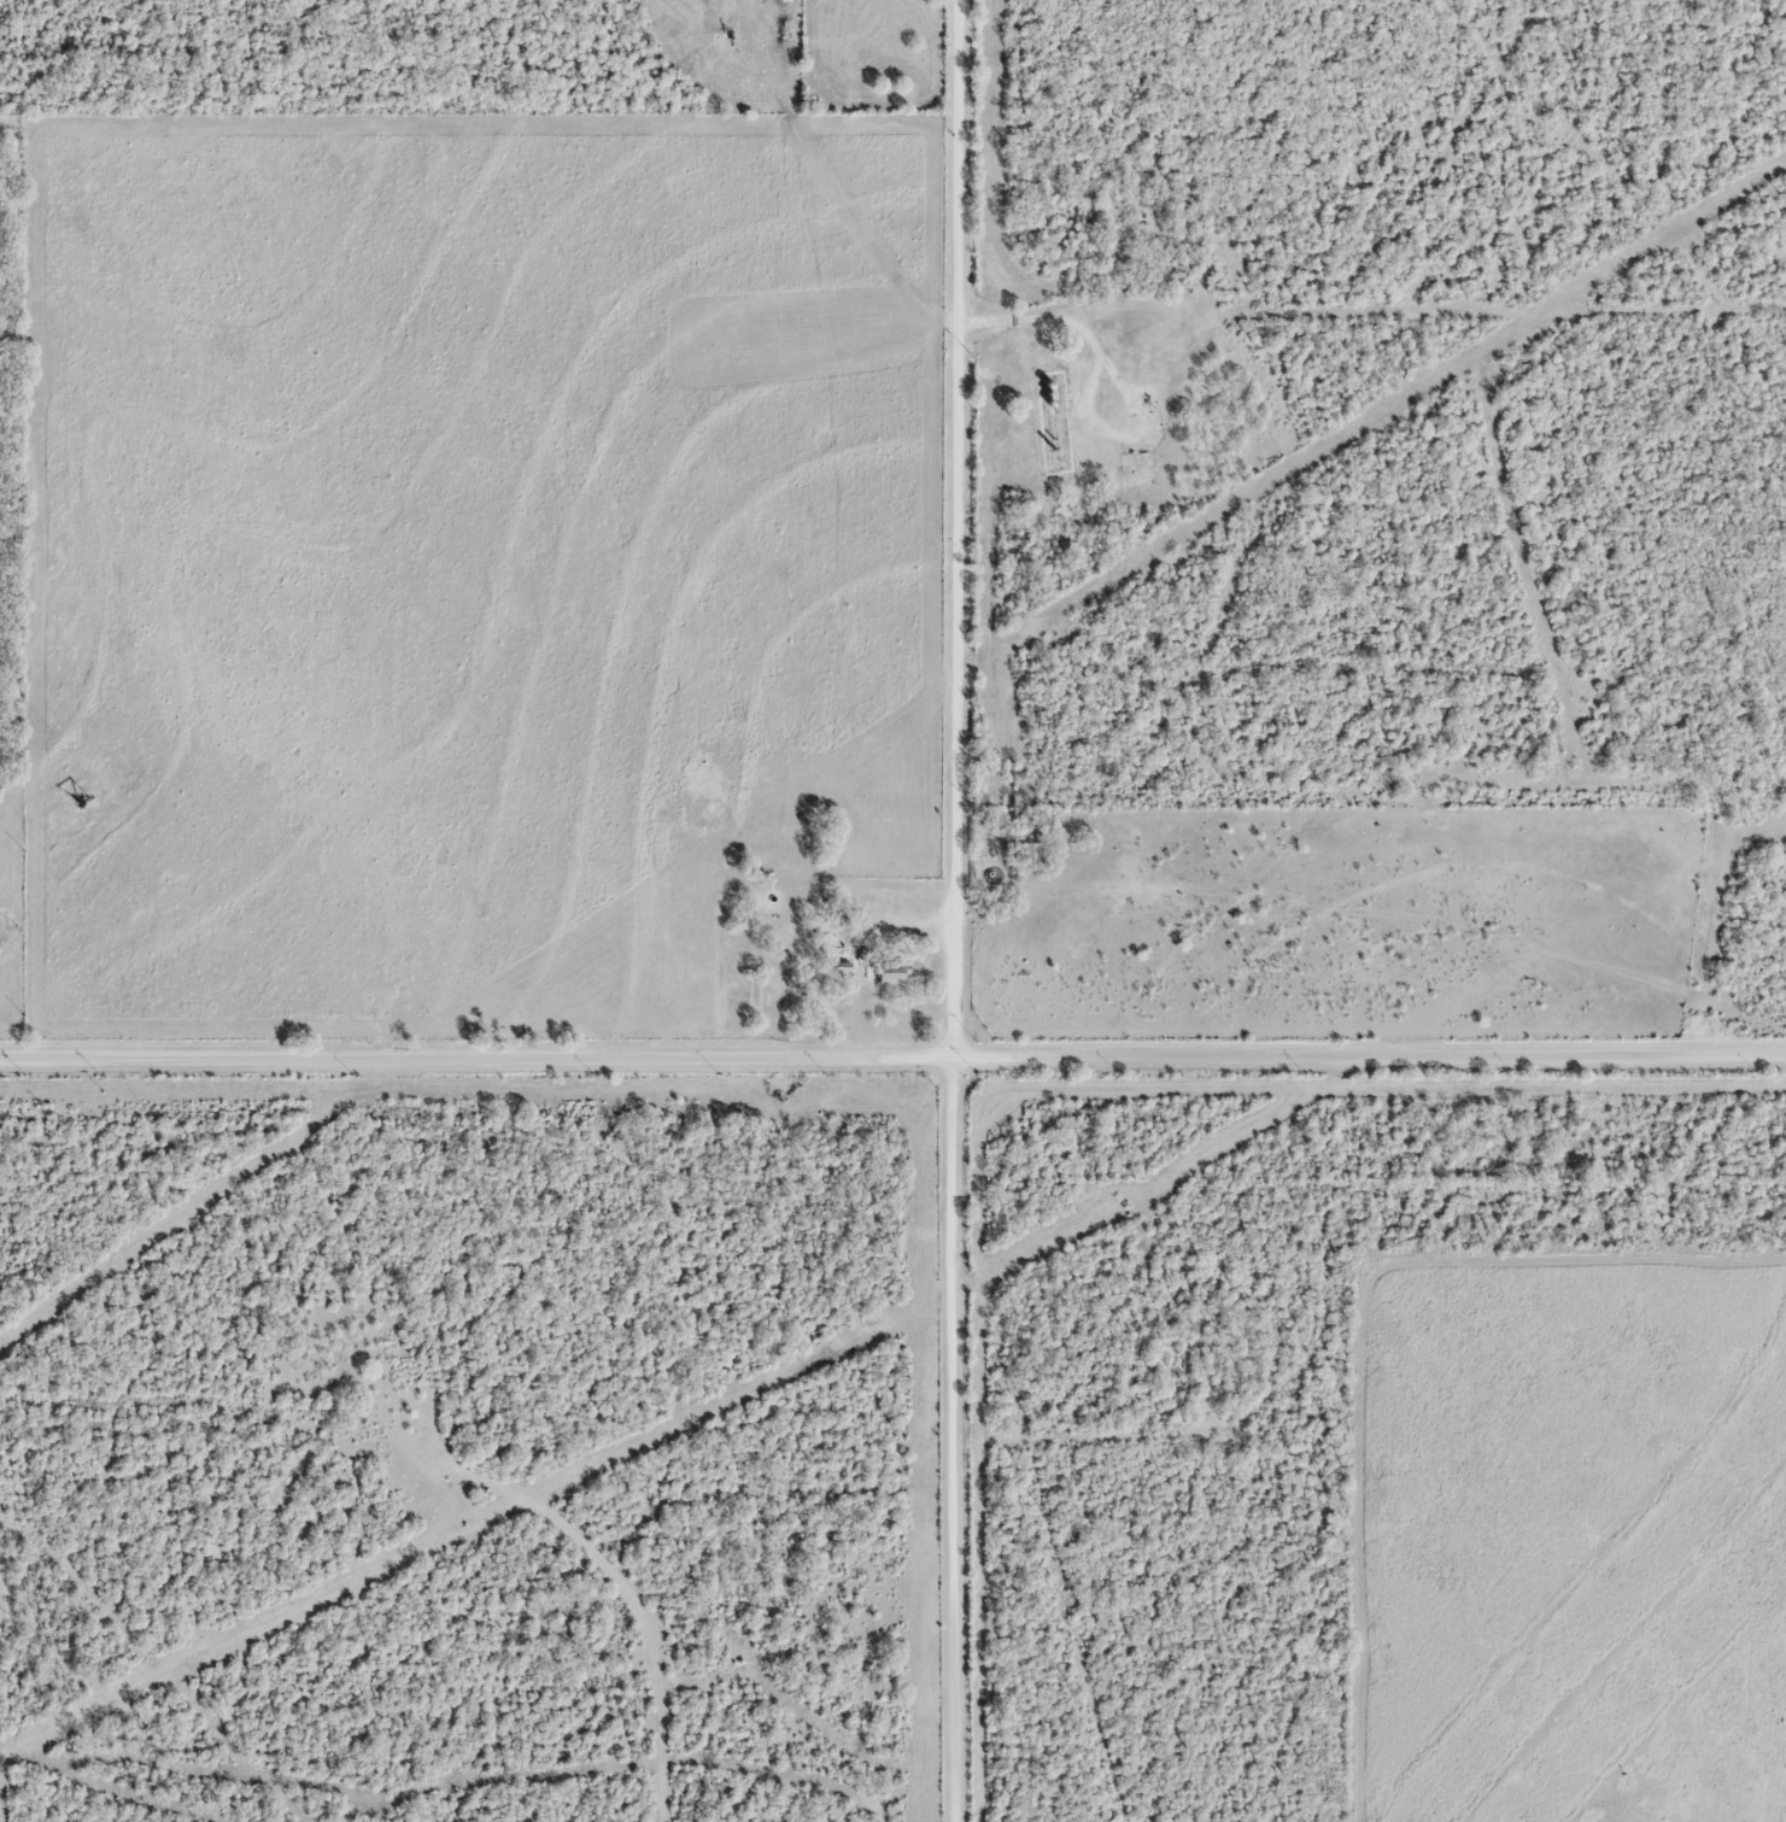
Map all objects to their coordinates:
park: (871, 57)
road: (1036, 316)
petroleum well: (80, 790)
building: (1030, 859)
road: (949, 910)
building: (898, 912)
building: (892, 972)
road: (892, 1053)

